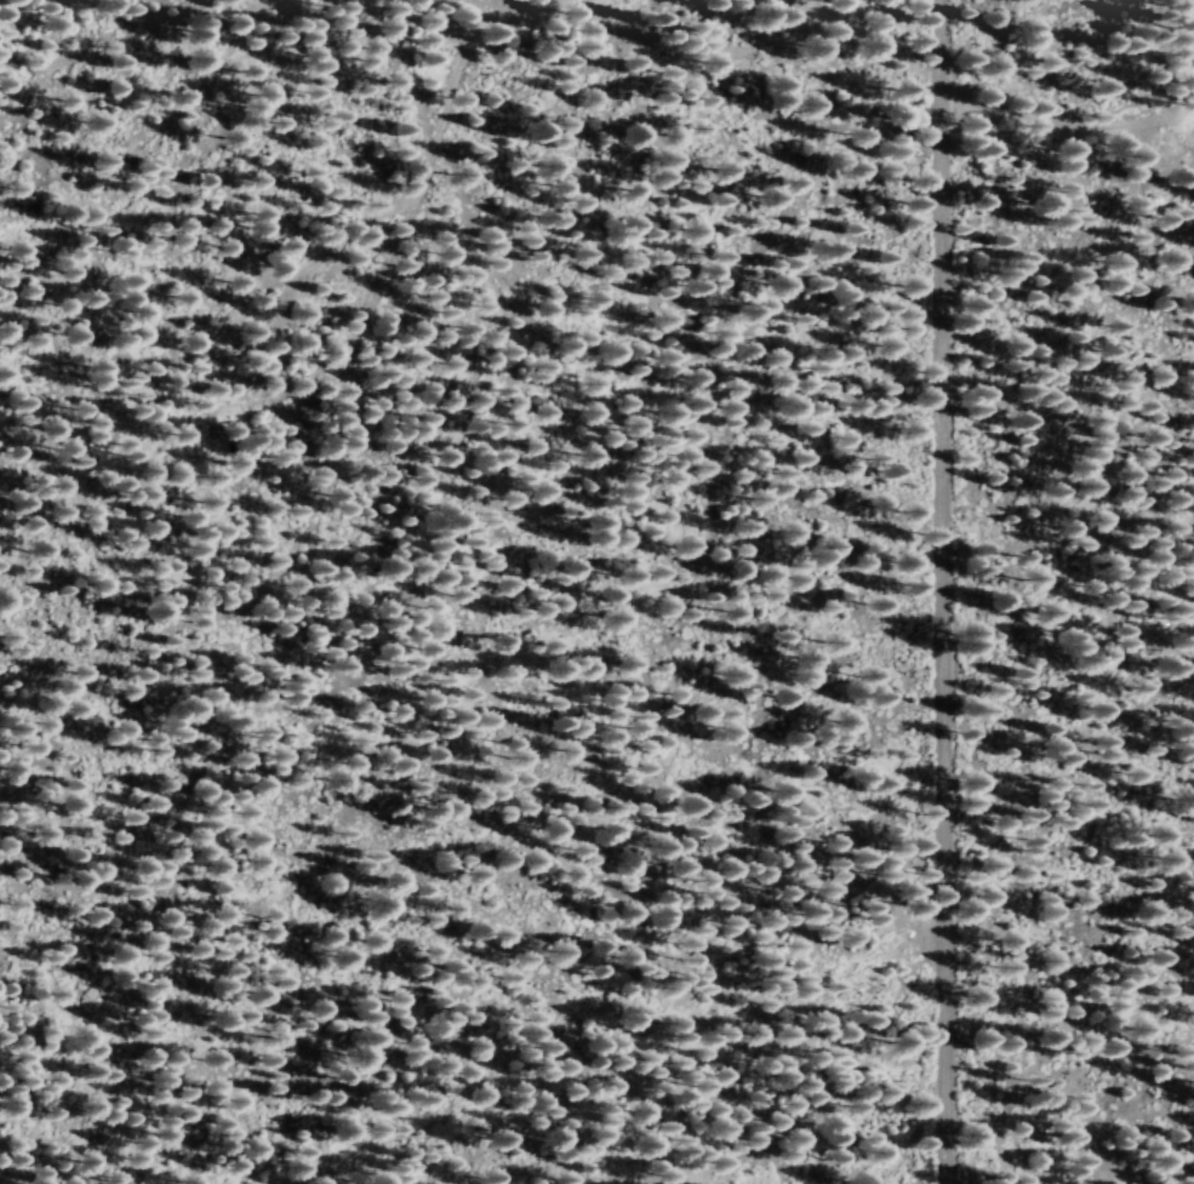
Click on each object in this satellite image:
road: (938, 591)

